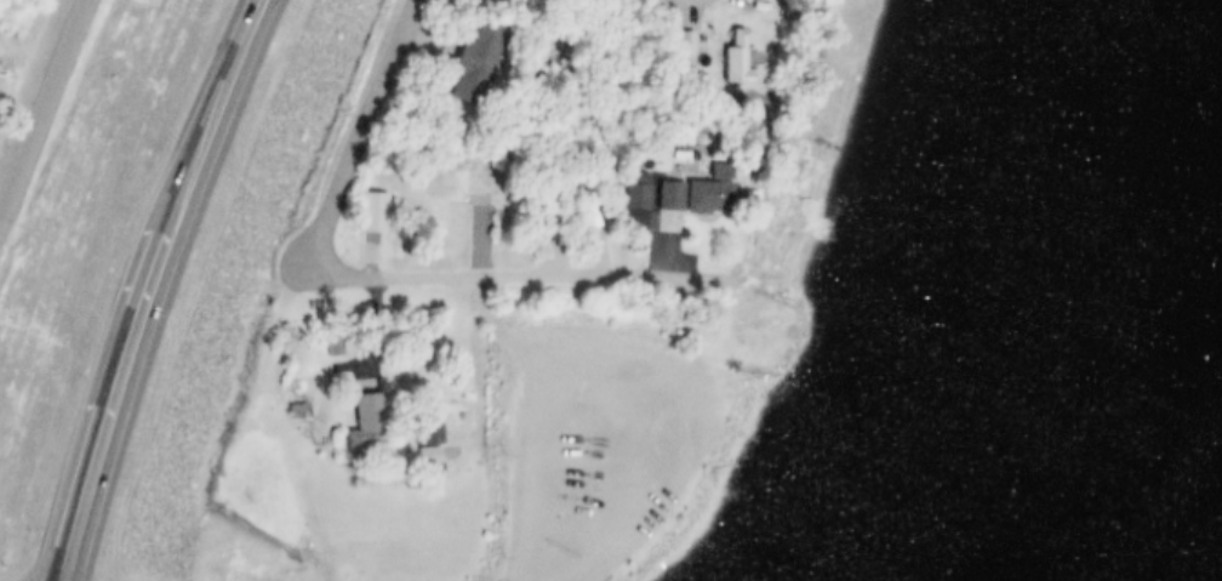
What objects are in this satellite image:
building: (675, 40)
building: (724, 53)
building: (466, 57)
building: (740, 61)
road: (275, 124)
road: (179, 132)
road: (361, 132)
building: (462, 184)
building: (626, 189)
building: (681, 194)
building: (714, 194)
building: (641, 198)
building: (365, 211)
road: (68, 269)
road: (468, 272)
building: (324, 343)
building: (358, 409)
road: (183, 414)
building: (427, 417)
building: (371, 425)

